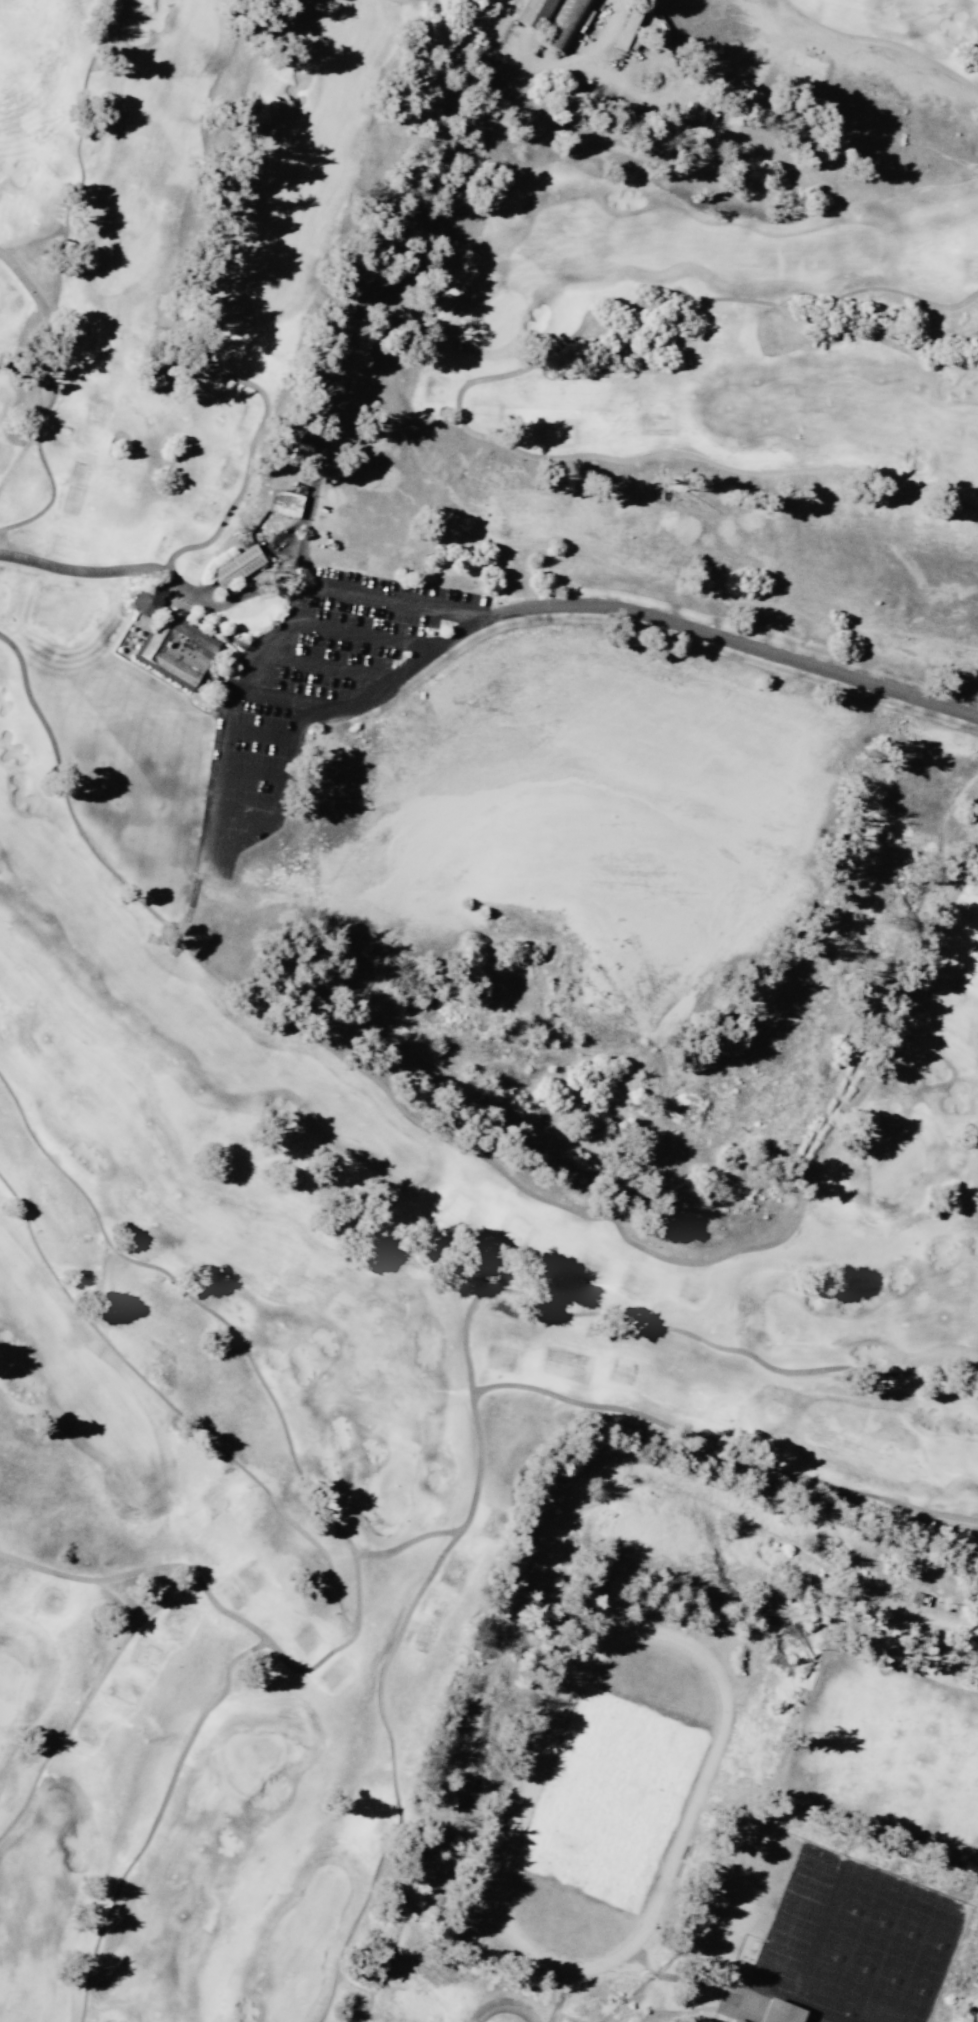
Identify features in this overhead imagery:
park: (976, 6)
building: (533, 12)
building: (564, 22)
building: (627, 26)
road: (882, 39)
road: (64, 219)
road: (30, 289)
building: (356, 305)
road: (208, 316)
park: (490, 318)
road: (464, 384)
building: (301, 447)
road: (17, 456)
road: (318, 456)
road: (51, 494)
building: (284, 501)
building: (237, 565)
road: (157, 569)
park: (5, 599)
building: (146, 600)
road: (391, 601)
park: (508, 606)
park: (62, 610)
road: (363, 635)
road: (730, 639)
building: (176, 650)
road: (413, 662)
road: (329, 665)
parking lot: (317, 690)
road: (295, 700)
road: (261, 734)
road: (294, 762)
road: (255, 769)
road: (243, 809)
road: (237, 837)
park: (895, 1164)
road: (500, 1169)
road: (572, 1313)
park: (790, 1320)
road: (229, 1327)
road: (943, 1366)
road: (173, 1408)
road: (721, 1450)
park: (952, 1455)
park: (390, 1486)
park: (328, 1514)
road: (405, 1542)
road: (146, 1567)
road: (304, 1668)
park: (7, 1685)
road: (85, 1699)
park: (638, 1728)
park: (249, 1756)
road: (391, 1772)
road: (155, 1817)
park: (583, 1873)
park: (858, 1888)
park: (886, 1899)
park: (915, 1910)
park: (944, 1921)
park: (840, 1933)
park: (869, 1944)
park: (897, 1956)
park: (926, 1967)
park: (822, 1979)
park: (851, 1990)
park: (884, 1991)
park: (912, 2002)
road: (502, 2004)
building: (780, 2011)
building: (736, 2019)

